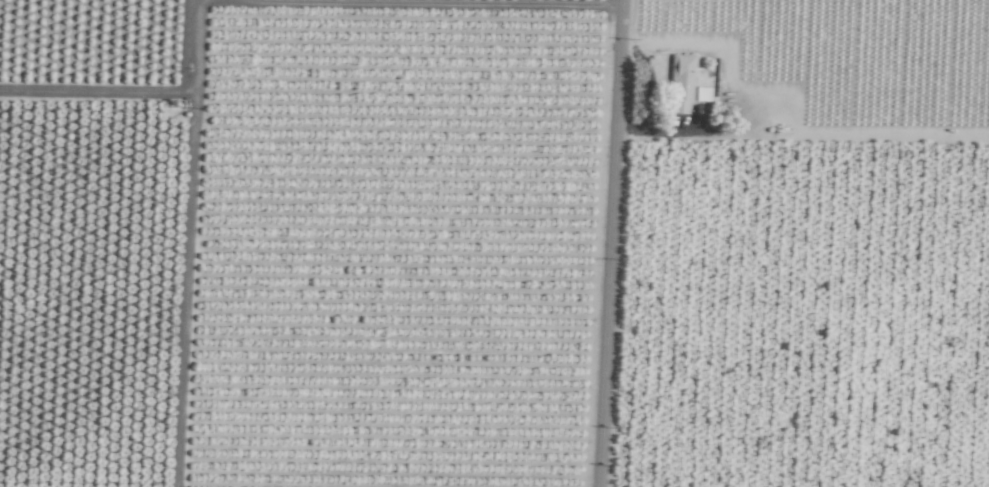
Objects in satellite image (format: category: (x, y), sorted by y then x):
building: (681, 81)
building: (701, 94)
road: (607, 243)

